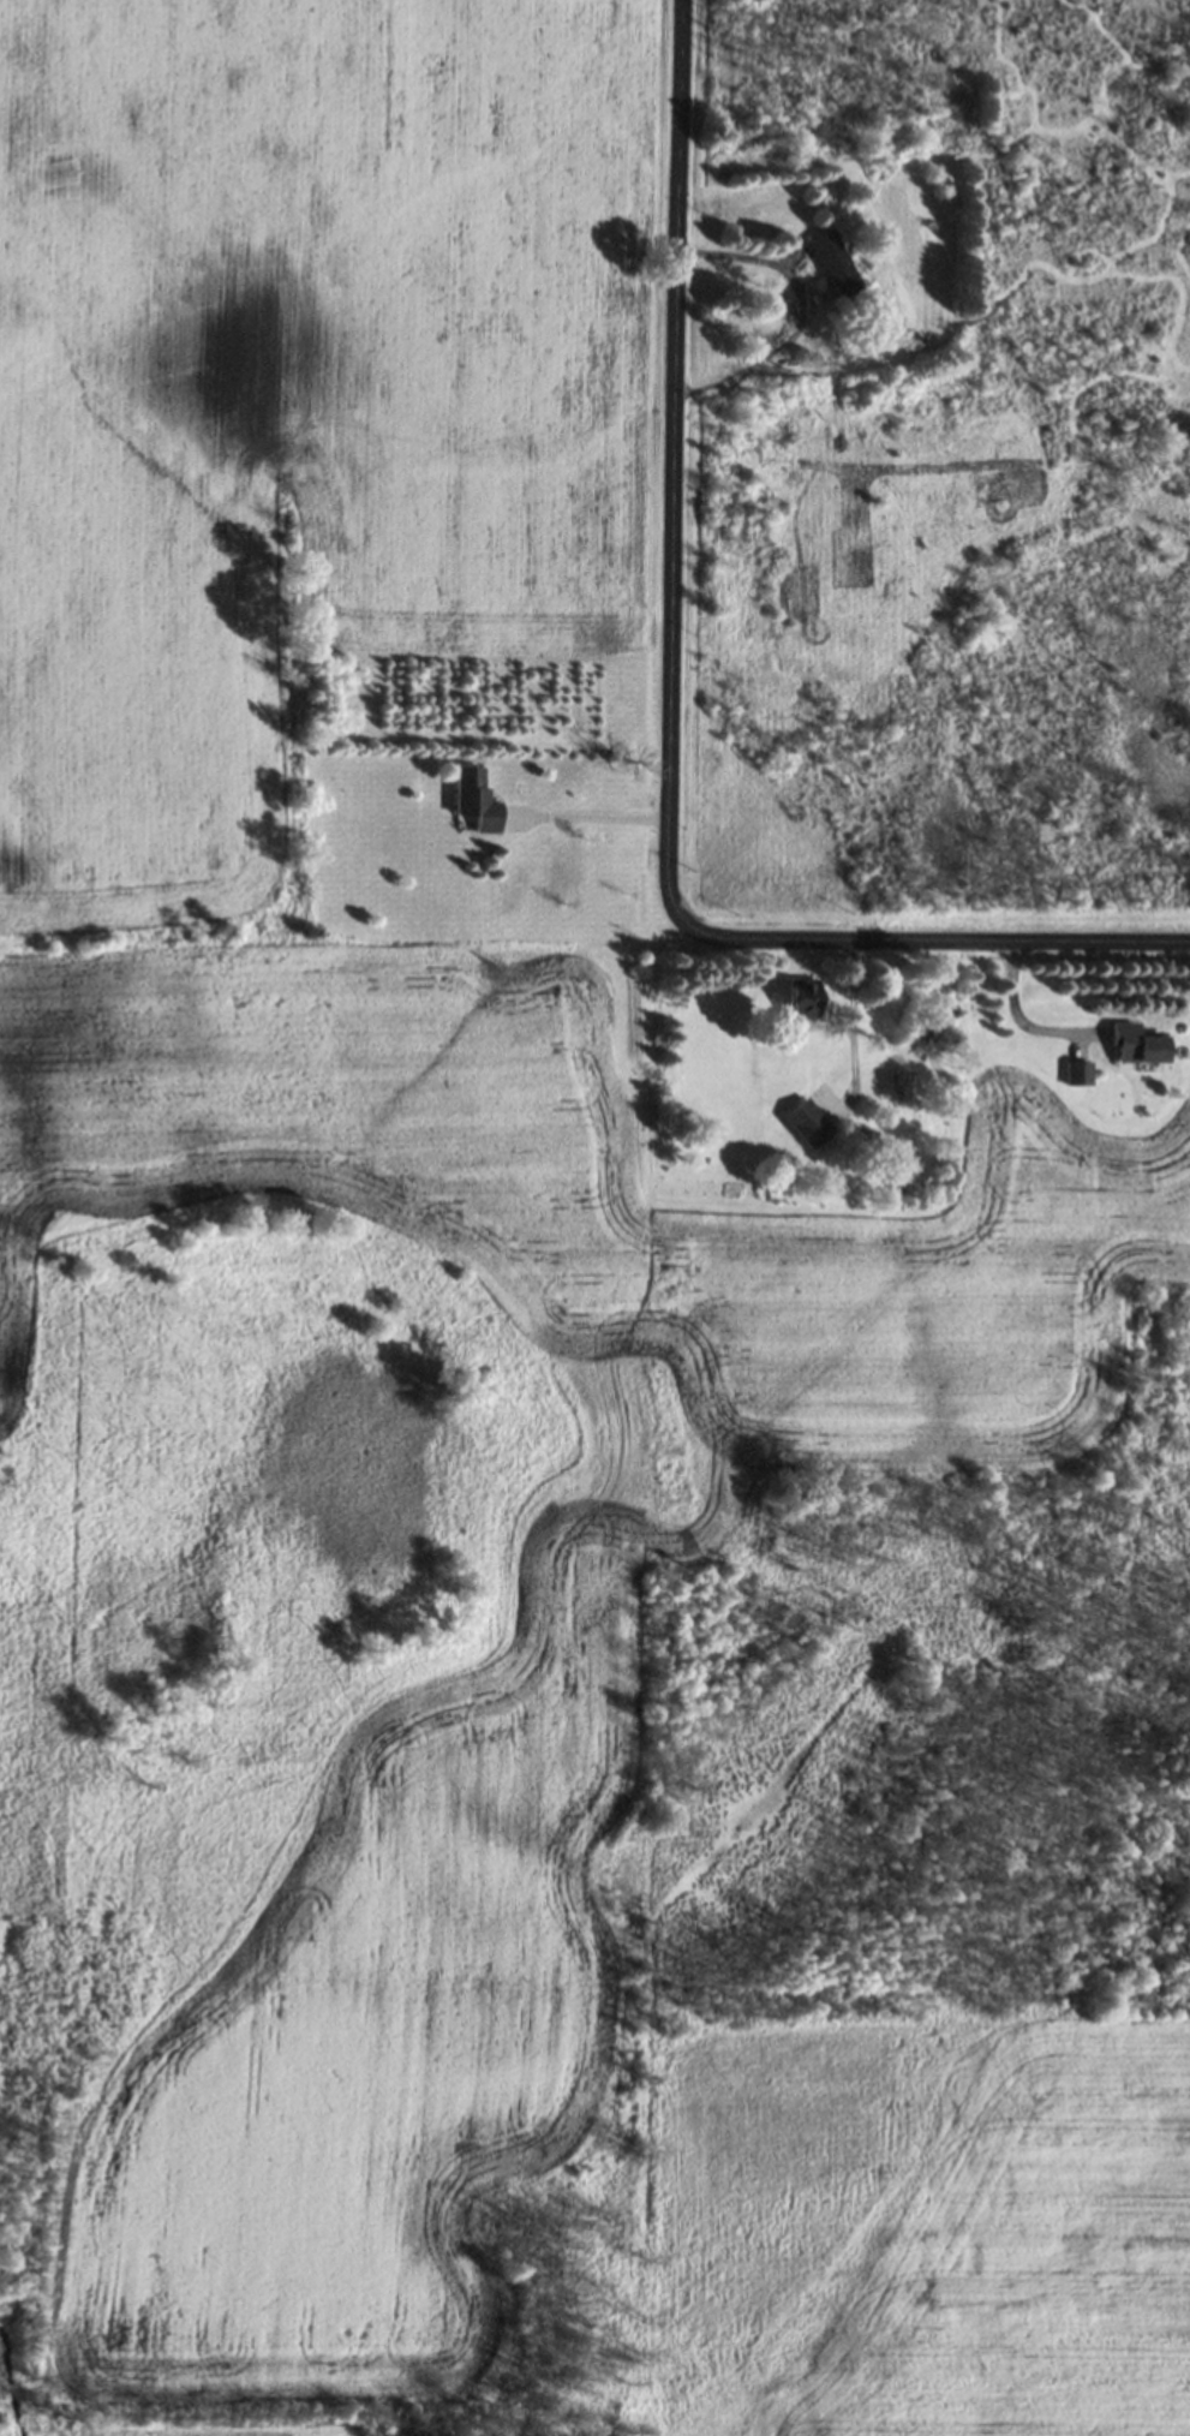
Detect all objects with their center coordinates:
building: (831, 265)
road: (670, 716)
building: (472, 800)
building: (797, 998)
building: (1132, 1044)
building: (1075, 1073)
building: (806, 1123)

